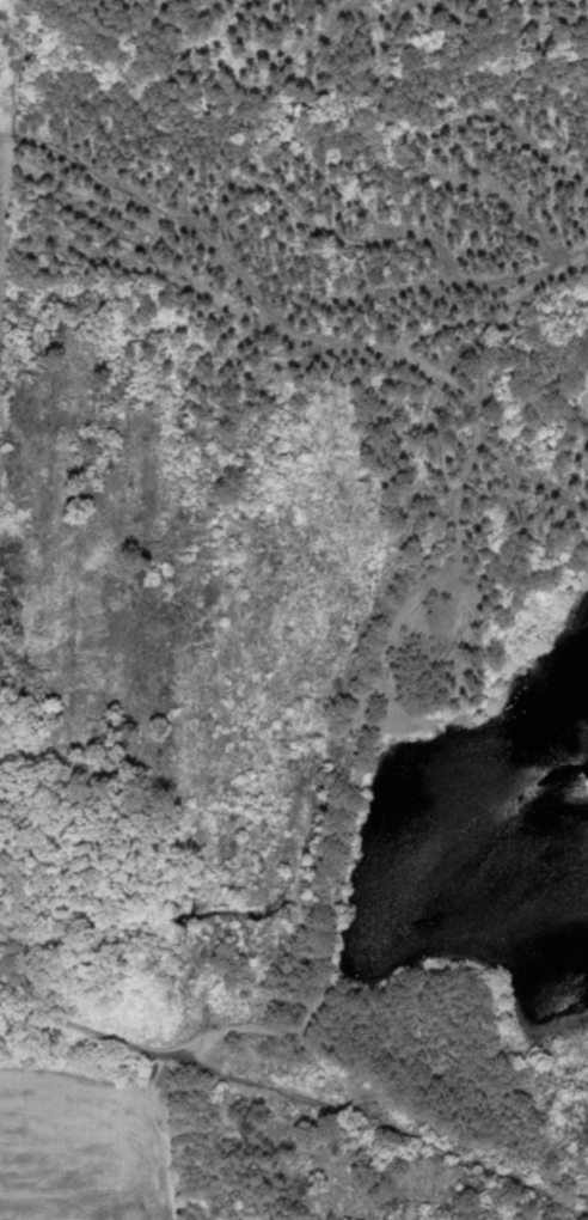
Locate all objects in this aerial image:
road: (294, 1135)

